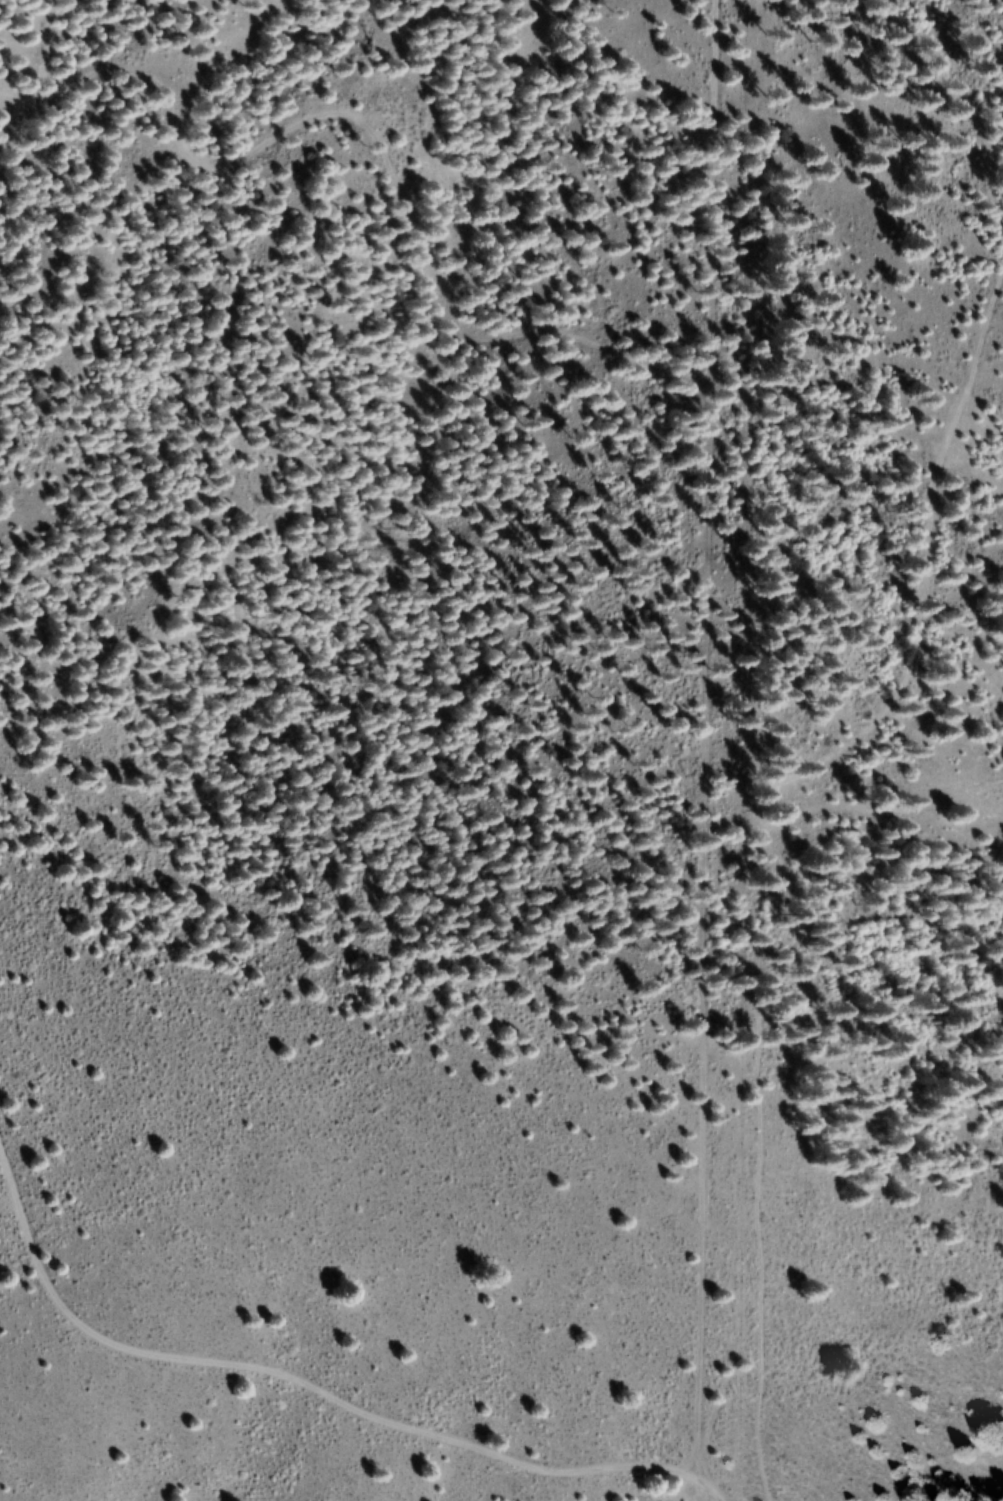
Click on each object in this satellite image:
road: (296, 1401)

